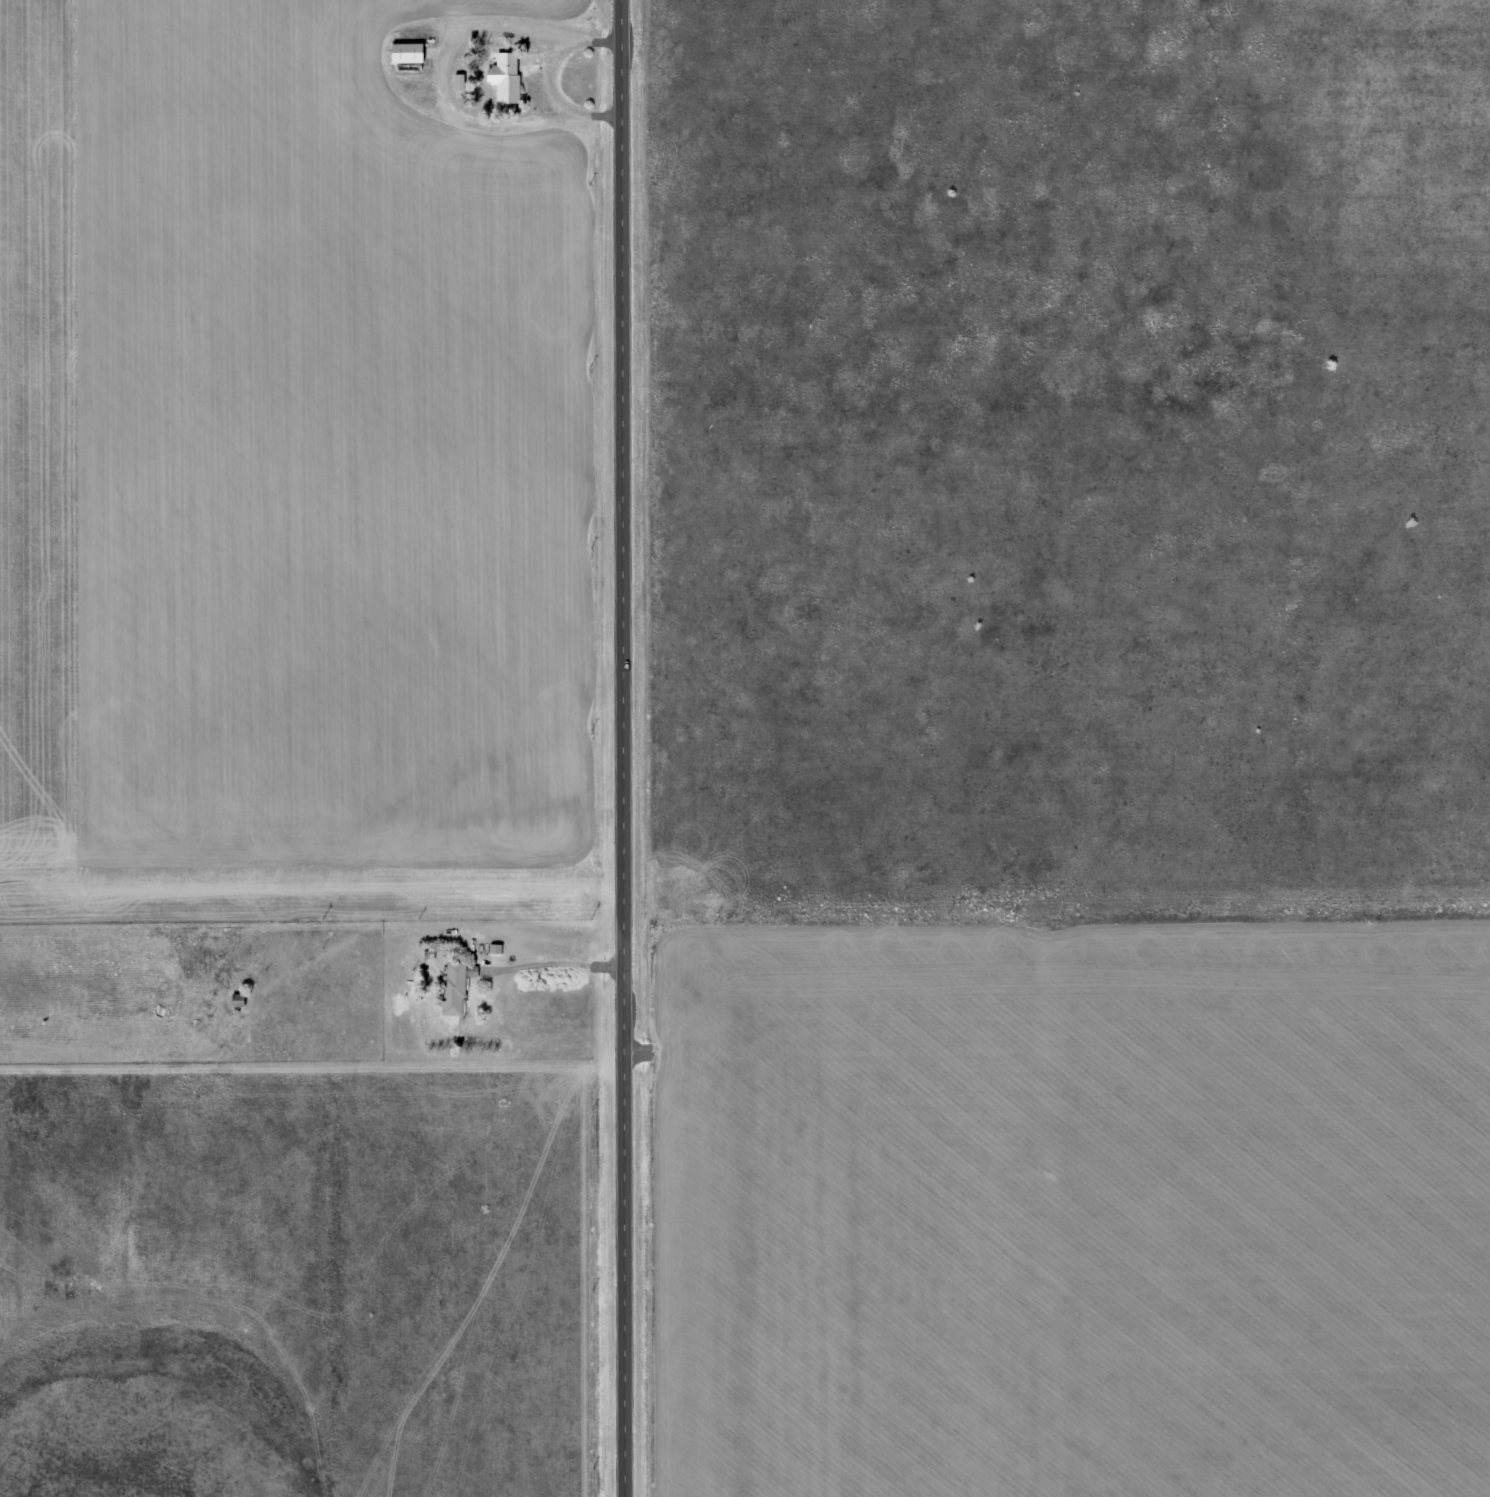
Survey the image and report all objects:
building: (402, 53)
building: (501, 78)
road: (634, 748)
road: (437, 956)
building: (451, 986)
building: (233, 1002)

